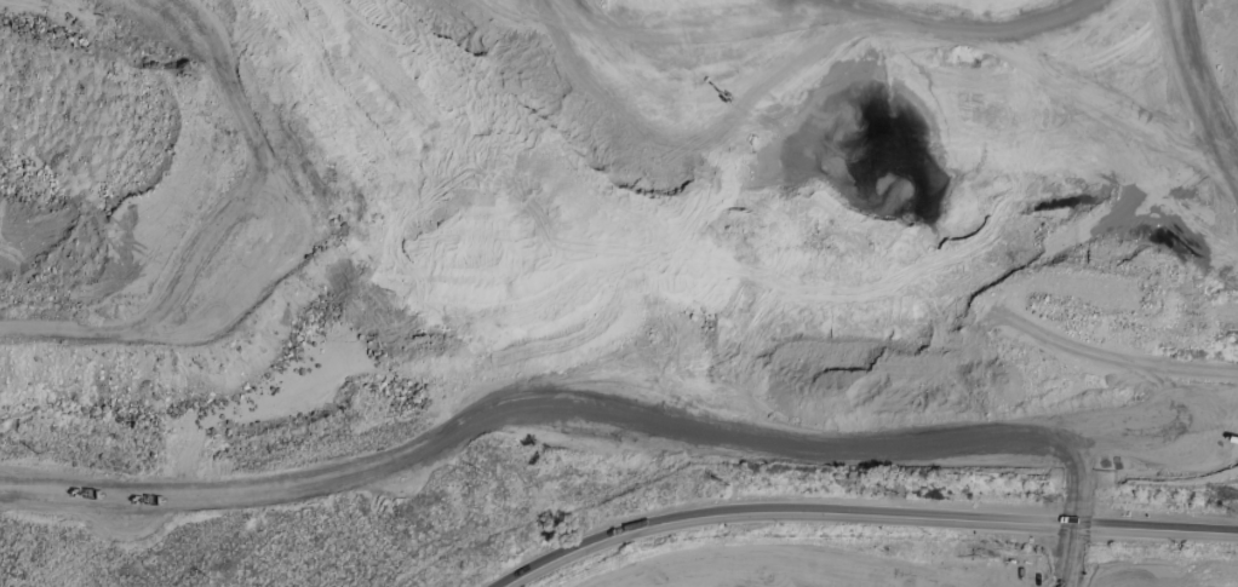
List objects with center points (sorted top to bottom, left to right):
quarry: (563, 197)
road: (864, 517)

